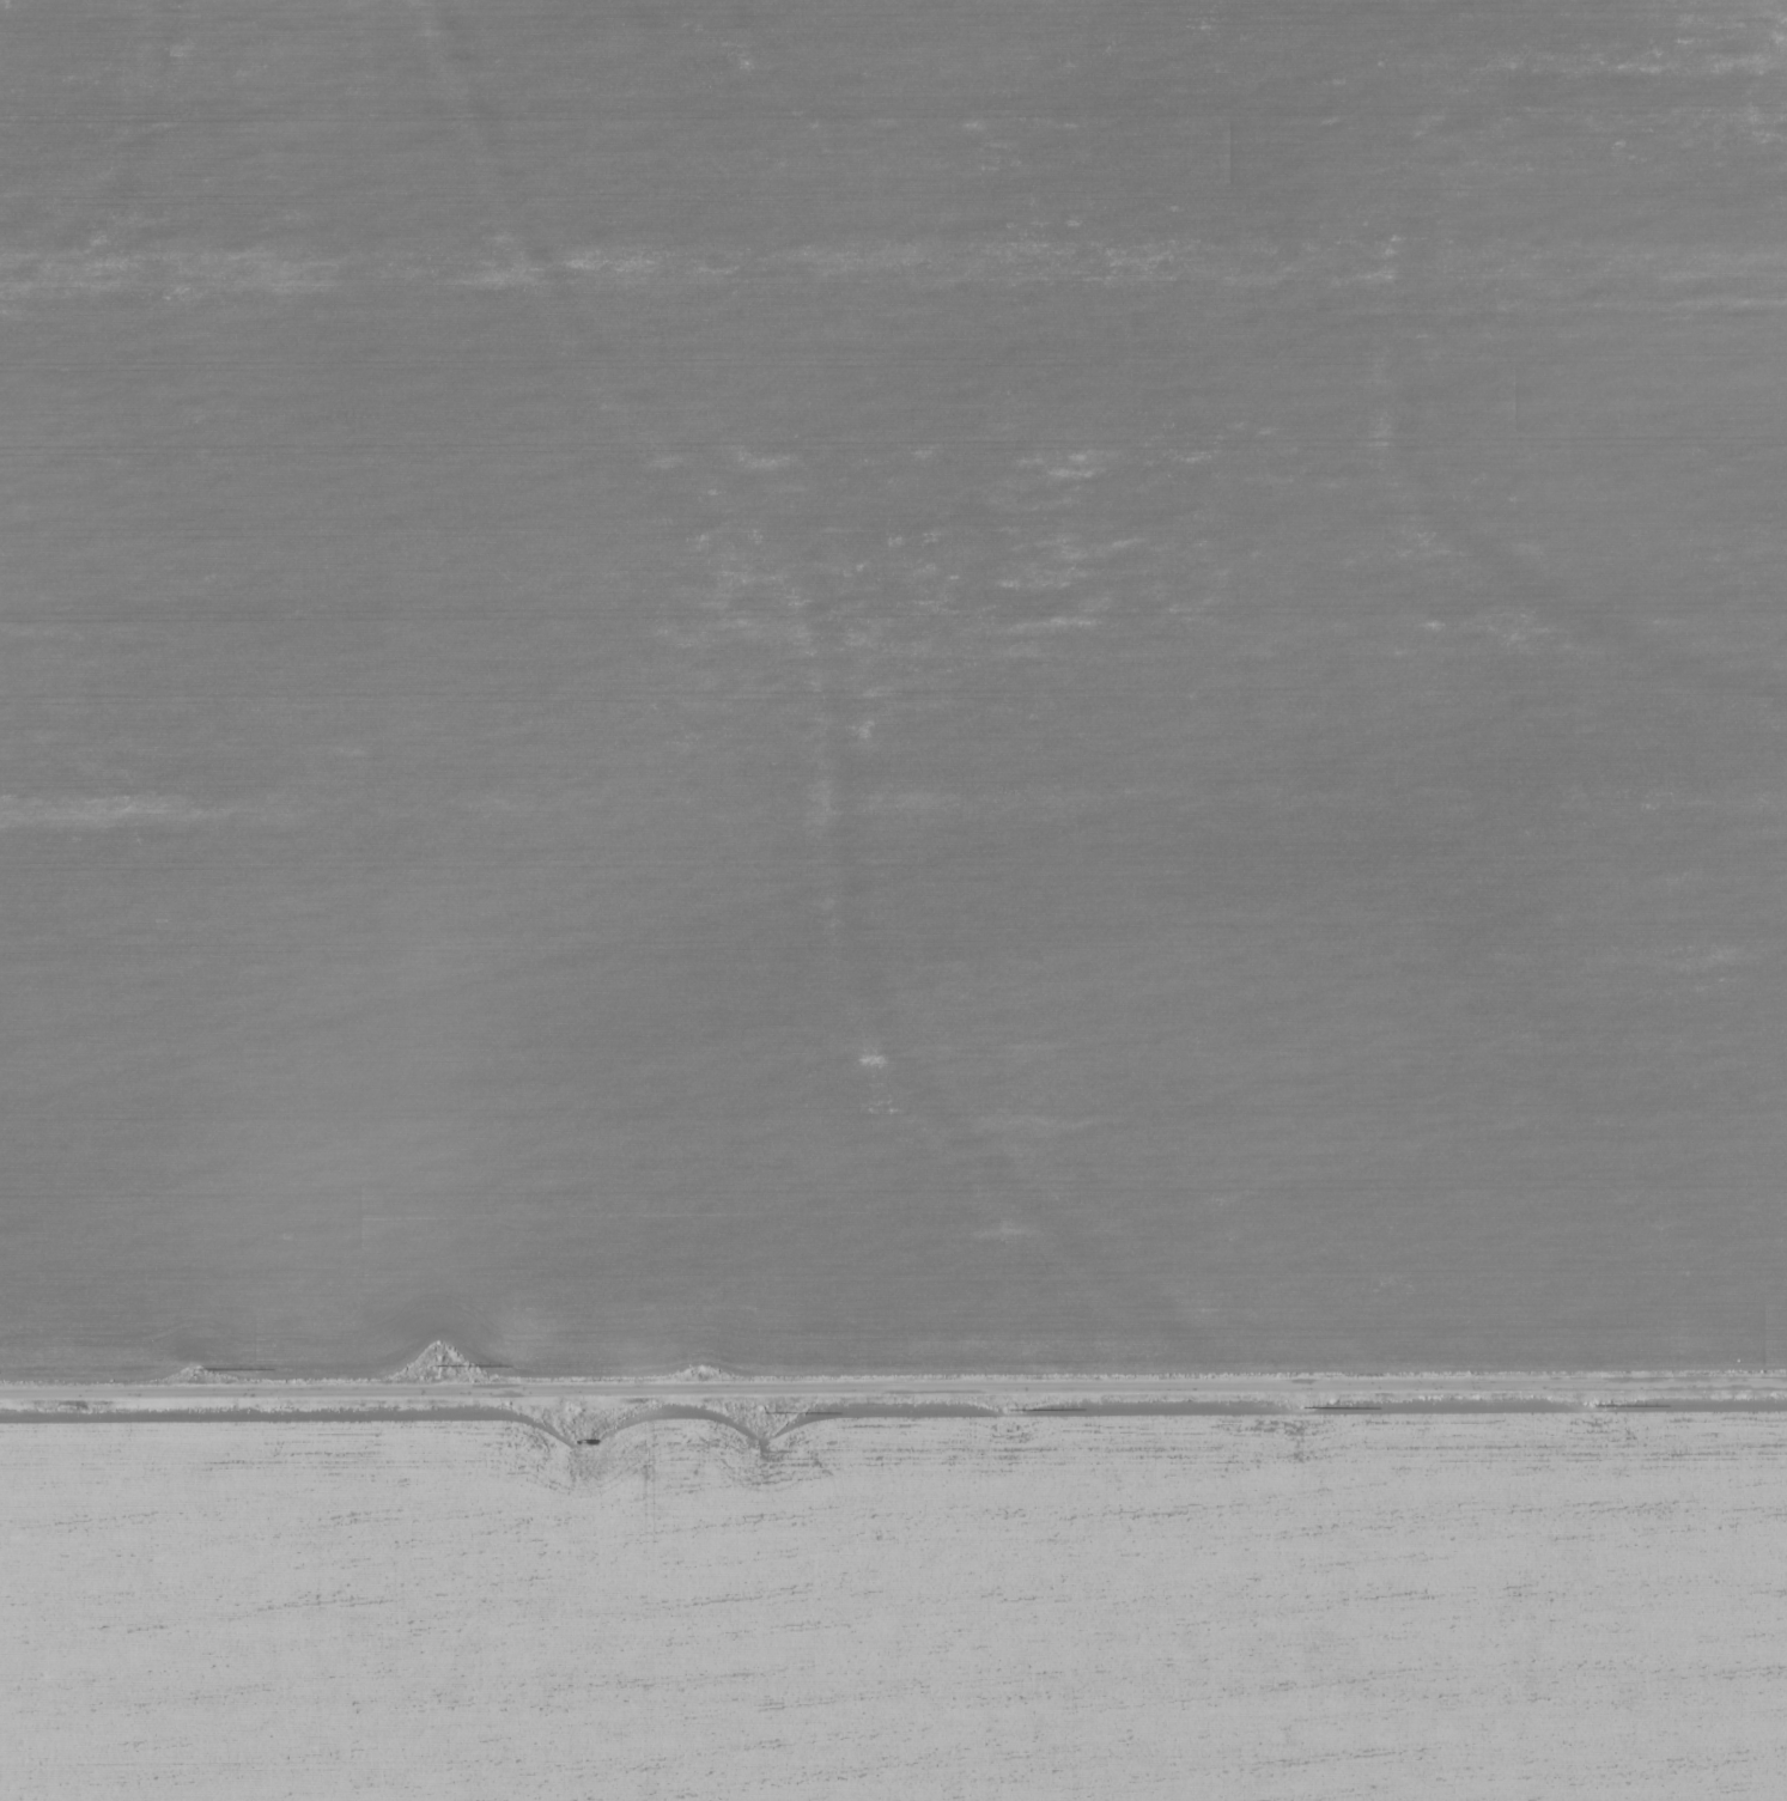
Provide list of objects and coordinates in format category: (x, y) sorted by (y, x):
power tower: (436, 1367)
power tower: (195, 1371)
road: (893, 1392)
power tower: (1595, 1404)
power tower: (1014, 1407)
power tower: (1299, 1407)
power tower: (765, 1410)

